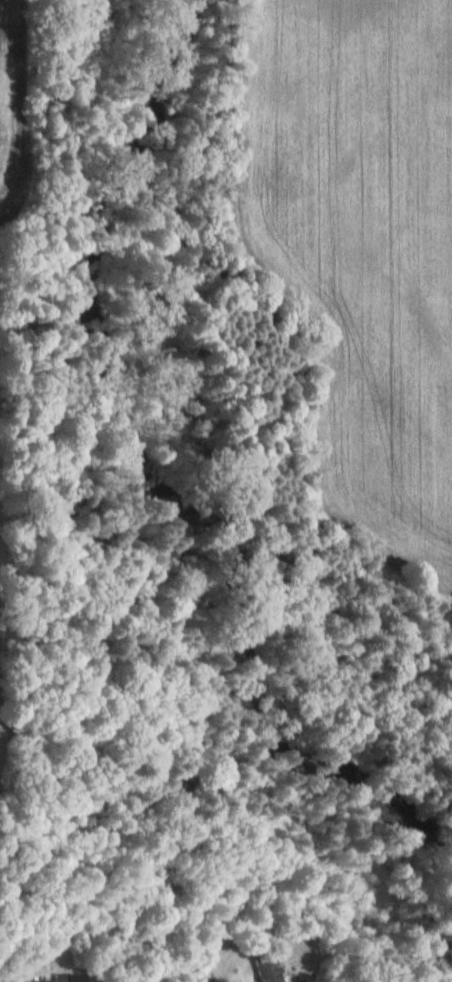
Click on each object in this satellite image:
building: (266, 968)
building: (59, 978)
road: (102, 981)

